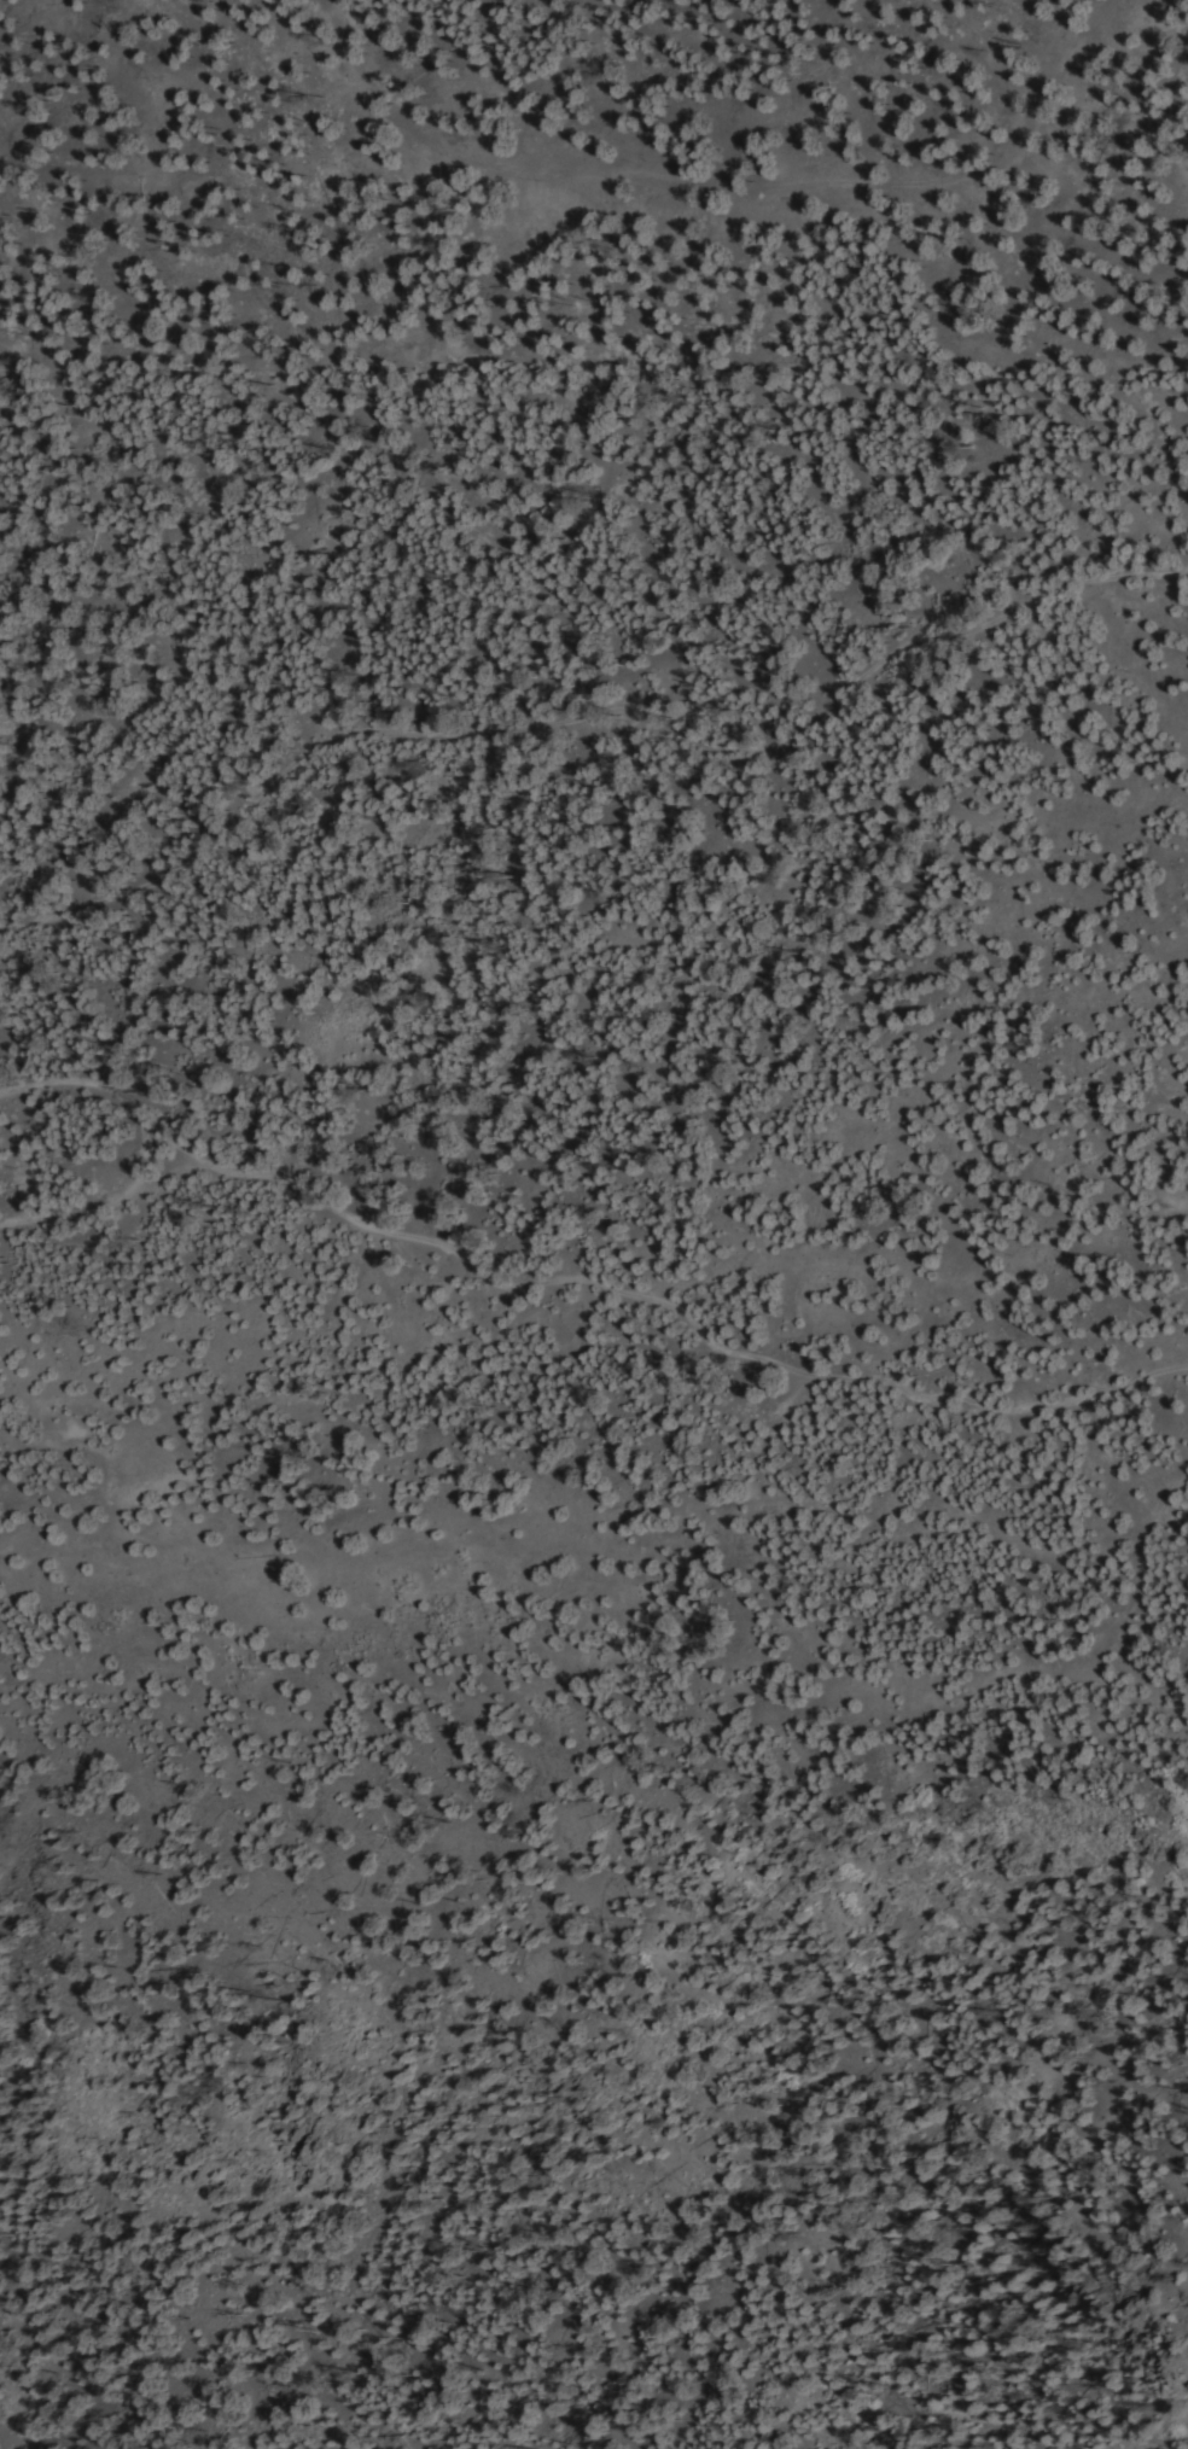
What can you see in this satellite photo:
road: (582, 728)
road: (94, 1206)
road: (580, 1281)
road: (954, 2404)

